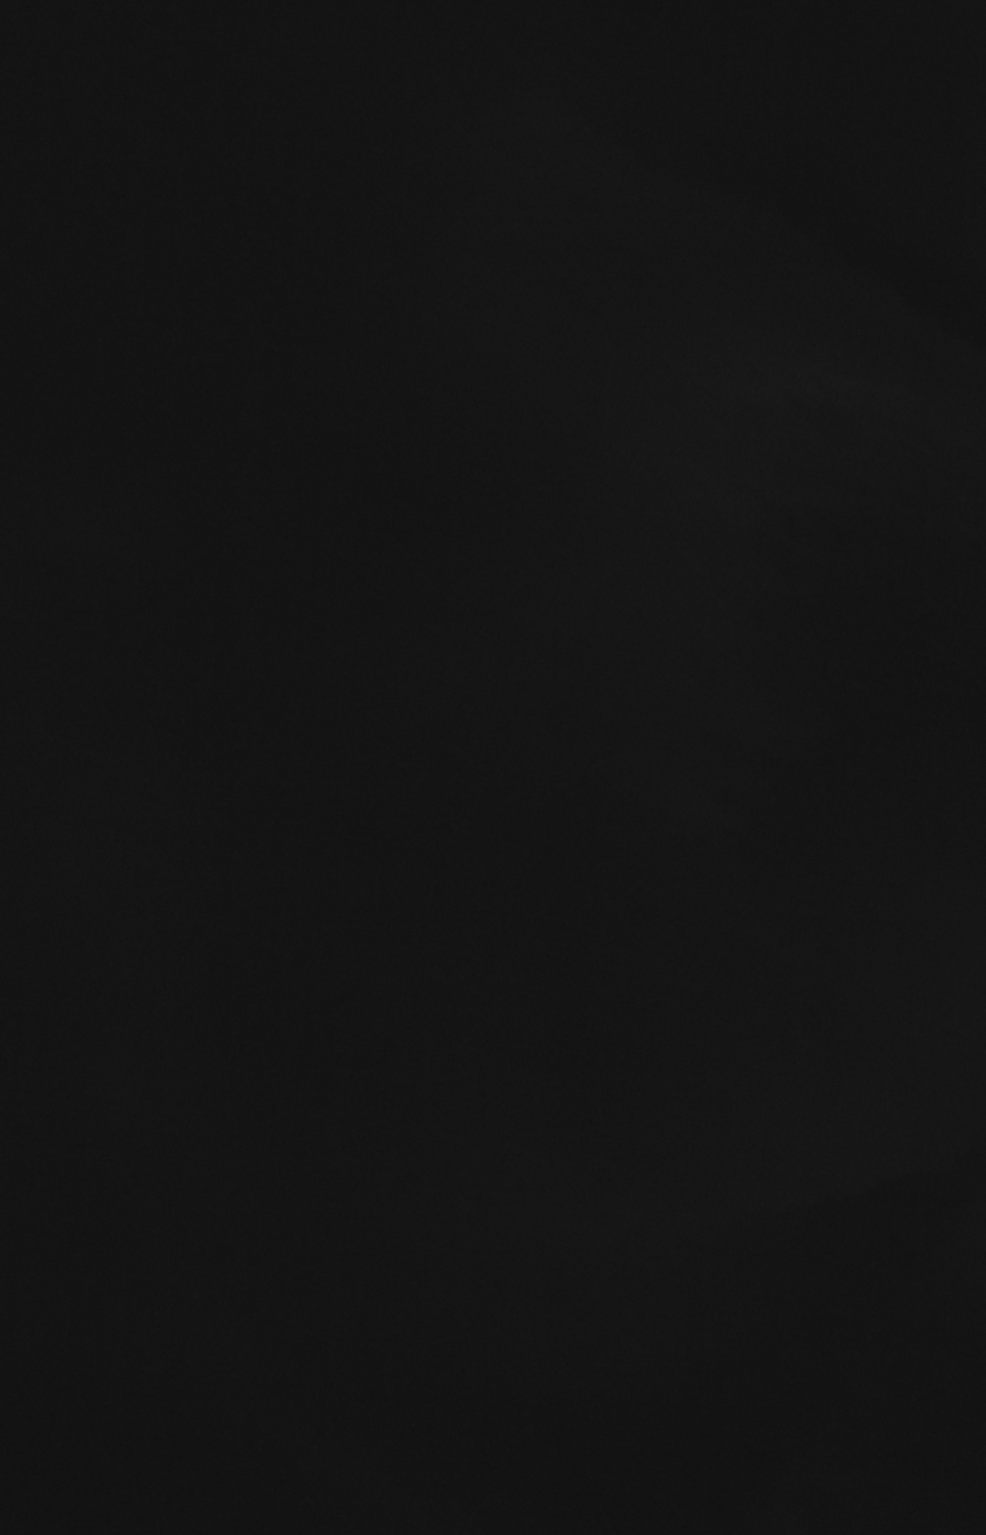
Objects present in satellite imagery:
river: (711, 339)

